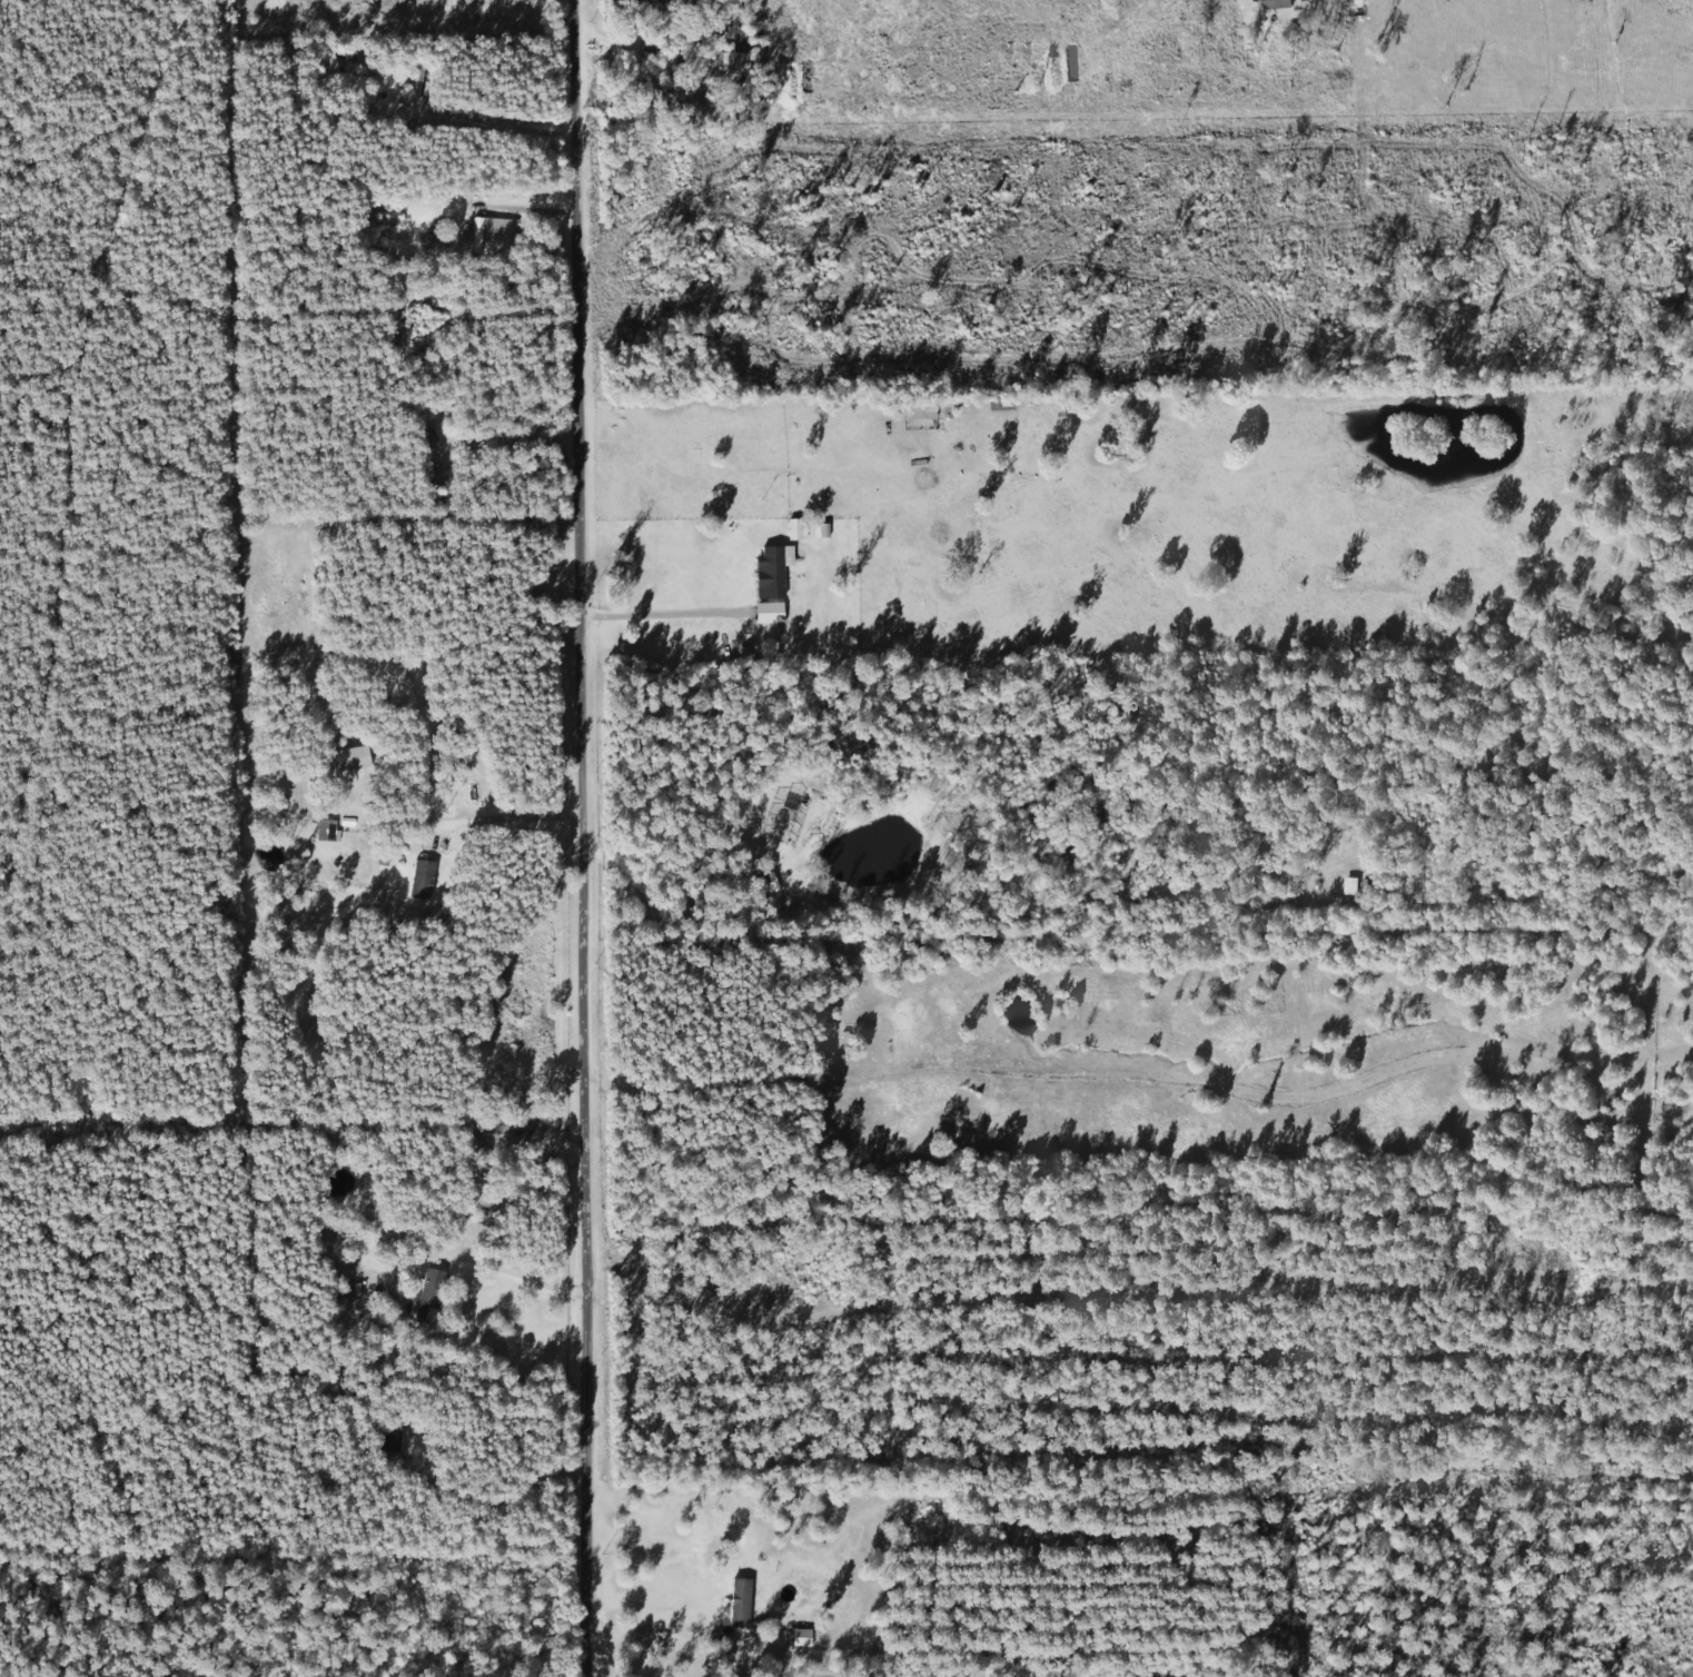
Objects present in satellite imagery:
building: (1270, 4)
building: (664, 6)
building: (628, 8)
building: (742, 71)
building: (416, 80)
building: (473, 232)
building: (921, 409)
building: (433, 453)
building: (796, 529)
building: (769, 574)
road: (666, 621)
building: (350, 760)
road: (508, 818)
building: (326, 831)
road: (597, 837)
building: (422, 881)
road: (519, 1280)
building: (429, 1296)
building: (390, 1440)
road: (659, 1635)

